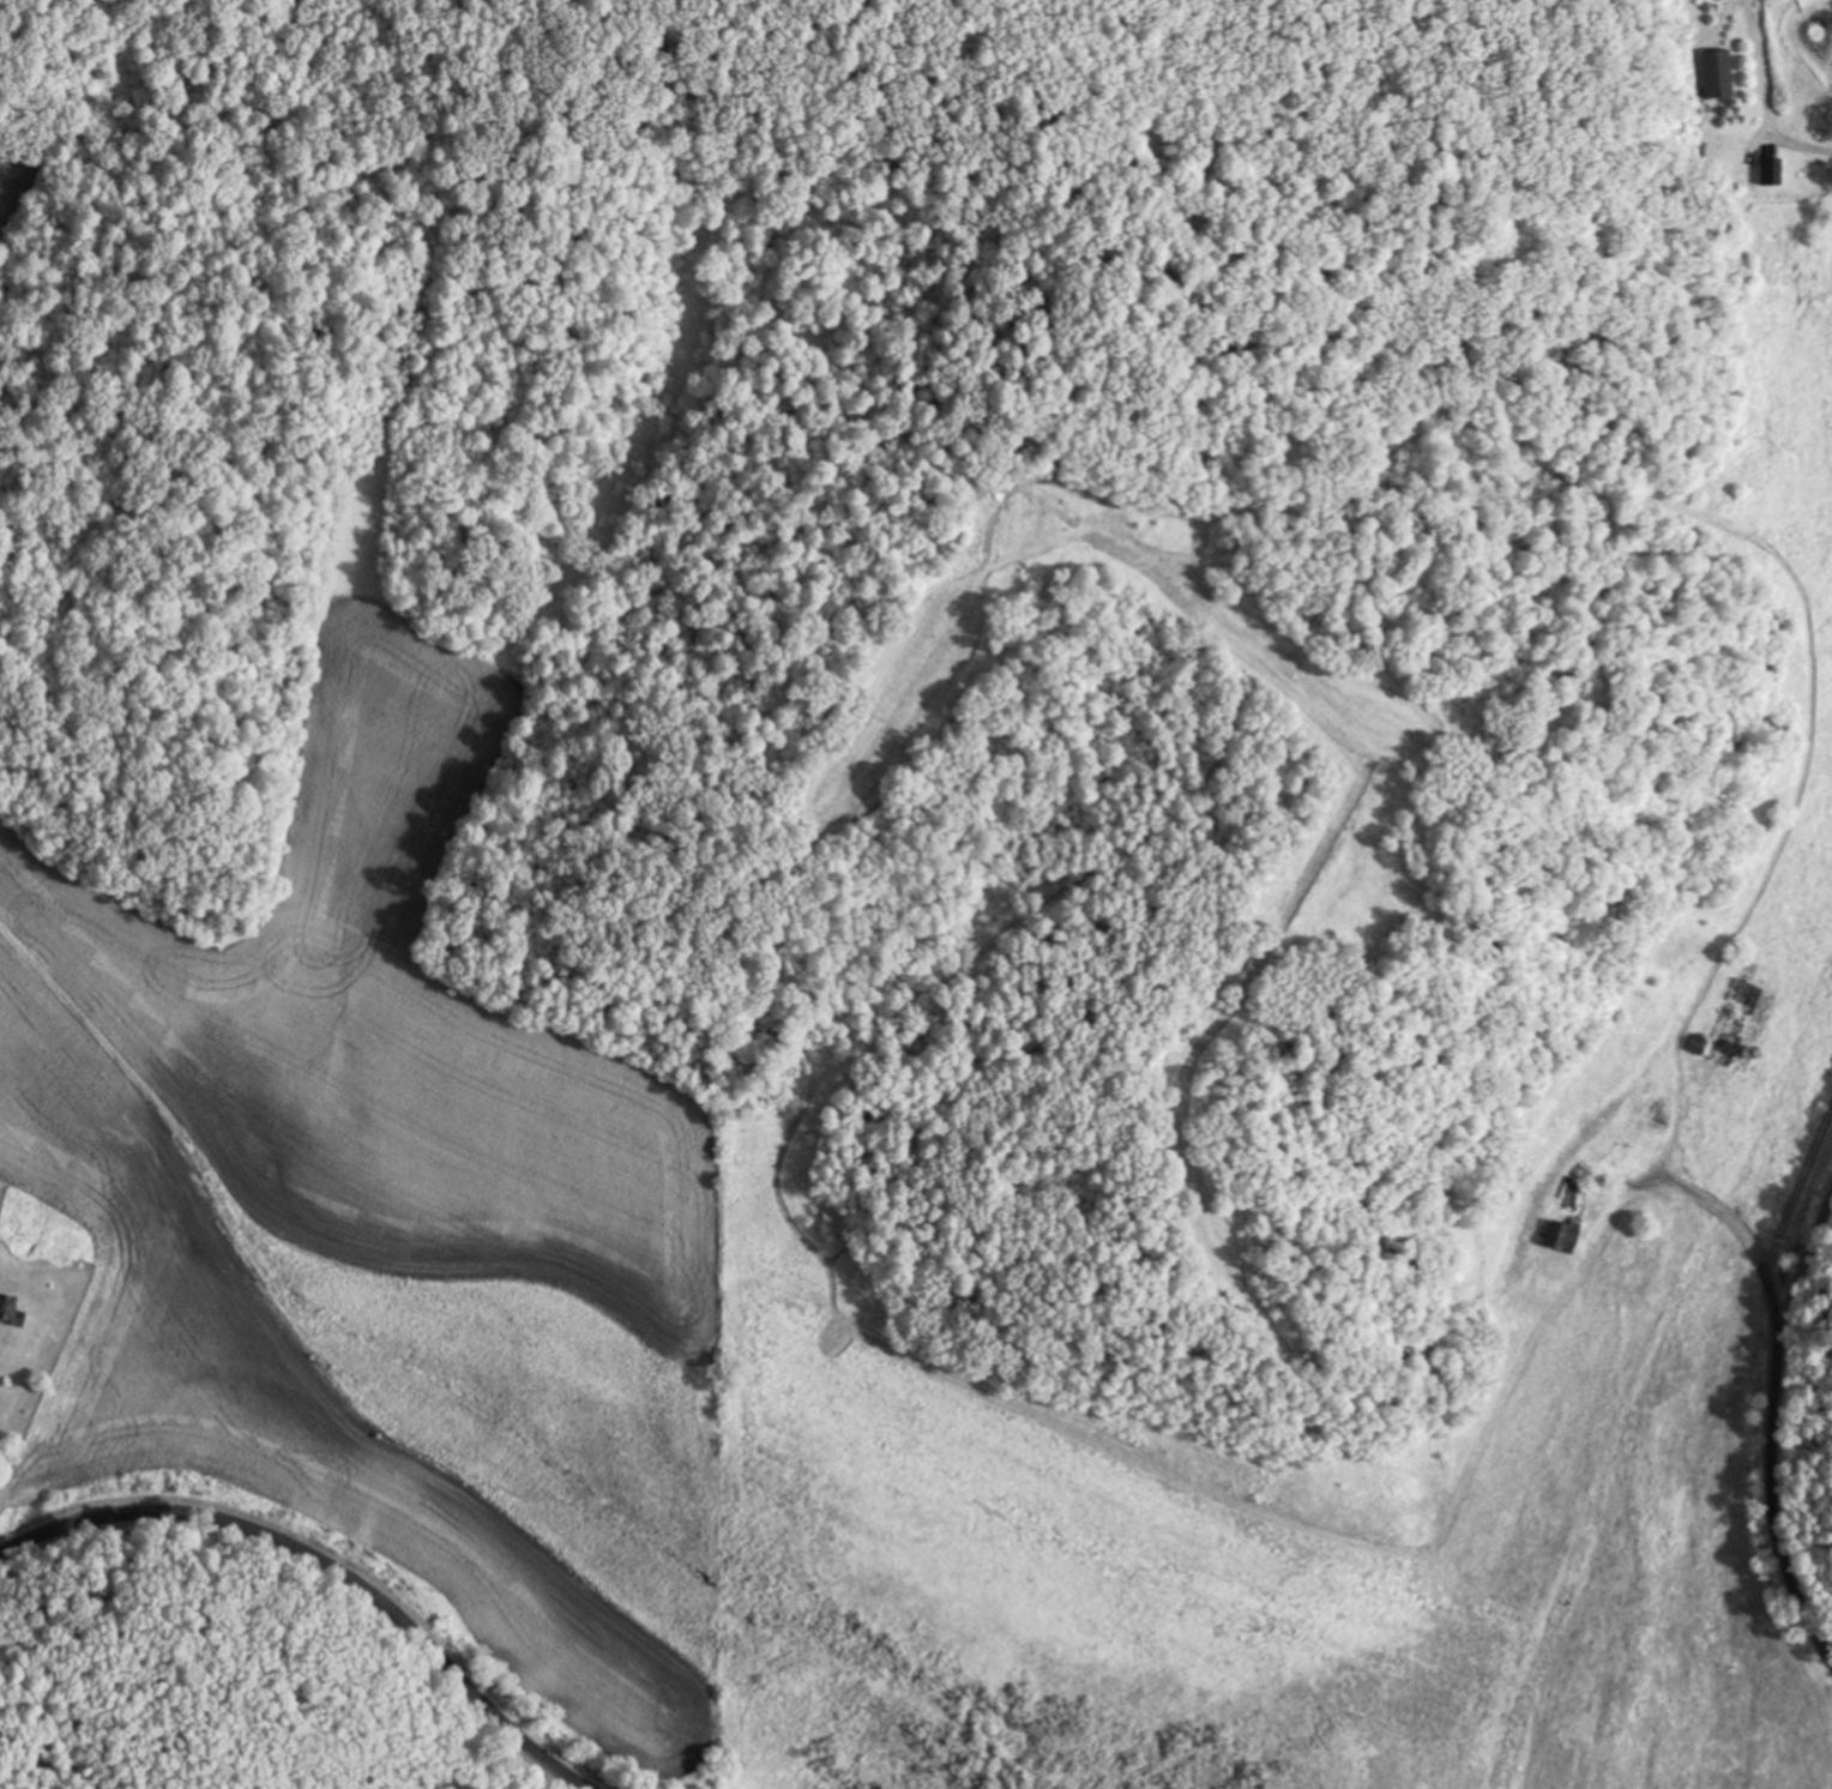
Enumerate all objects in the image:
building: (1720, 73)
crop: (16, 197)
building: (1699, 1044)
crop: (384, 1223)
road: (1804, 1249)
road: (1773, 1390)
crop: (983, 1454)
road: (331, 1561)

